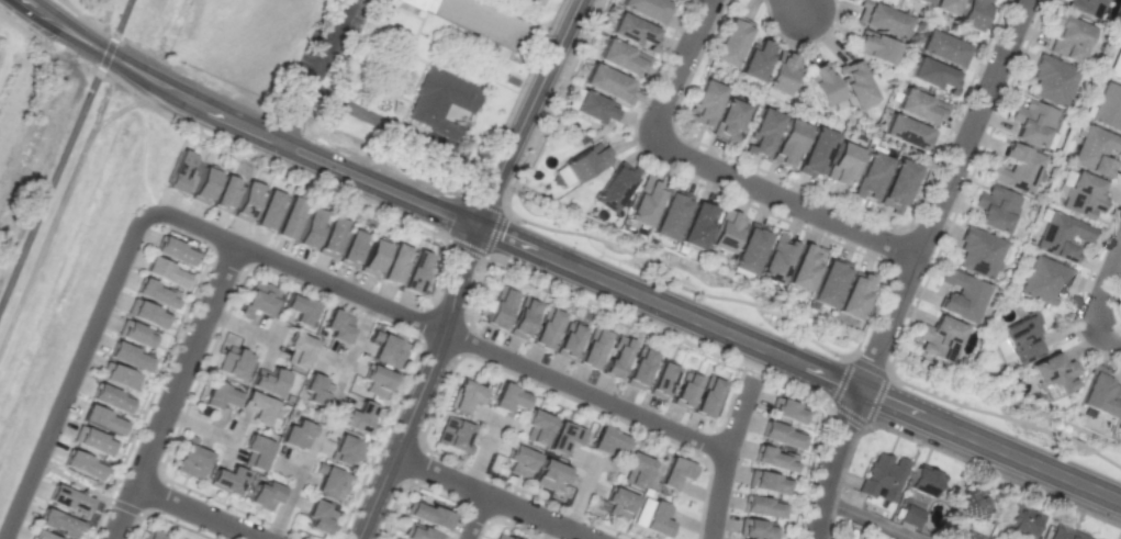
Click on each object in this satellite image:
building: (926, 0)
building: (959, 0)
building: (535, 1)
building: (417, 2)
road: (797, 4)
building: (943, 5)
building: (1081, 5)
building: (644, 9)
street lamp: (592, 12)
building: (971, 13)
street lamp: (839, 14)
building: (881, 19)
building: (485, 20)
road: (83, 22)
road: (21, 27)
road: (117, 27)
building: (634, 31)
street lamp: (674, 34)
building: (1067, 38)
building: (730, 41)
building: (874, 47)
building: (941, 47)
building: (620, 57)
building: (754, 59)
road: (317, 72)
building: (780, 72)
building: (1118, 72)
building: (932, 75)
building: (509, 80)
building: (1051, 80)
building: (607, 83)
building: (853, 83)
building: (822, 85)
road: (519, 89)
building: (438, 98)
building: (705, 102)
street lamp: (643, 103)
building: (593, 106)
building: (918, 106)
building: (1107, 106)
road: (526, 113)
building: (728, 120)
building: (1033, 124)
road: (243, 127)
building: (761, 132)
building: (907, 132)
building: (788, 142)
building: (1096, 150)
road: (64, 151)
building: (815, 151)
building: (841, 162)
building: (581, 164)
street lamp: (672, 168)
building: (1016, 168)
road: (715, 169)
building: (180, 171)
building: (870, 176)
road: (53, 179)
street lamp: (787, 182)
building: (203, 184)
building: (896, 186)
building: (613, 188)
building: (224, 193)
road: (942, 194)
building: (1081, 195)
building: (246, 201)
building: (644, 201)
building: (995, 209)
building: (267, 210)
building: (670, 216)
building: (288, 217)
building: (696, 224)
street lamp: (155, 225)
building: (310, 227)
building: (726, 231)
building: (1061, 236)
building: (330, 237)
building: (350, 248)
building: (749, 248)
street lamp: (859, 248)
building: (175, 250)
building: (978, 251)
building: (371, 257)
building: (776, 258)
street lamp: (933, 259)
building: (394, 263)
building: (804, 267)
building: (415, 271)
building: (165, 272)
building: (1044, 280)
street lamp: (290, 281)
building: (828, 282)
road: (1102, 290)
building: (156, 293)
building: (854, 294)
building: (961, 295)
building: (259, 299)
building: (299, 308)
building: (498, 308)
street lamp: (113, 310)
building: (146, 314)
building: (522, 317)
street lamp: (378, 318)
building: (337, 325)
road: (244, 327)
road: (436, 328)
building: (546, 328)
building: (135, 334)
building: (1021, 337)
building: (939, 338)
road: (1112, 338)
building: (568, 339)
road: (274, 341)
building: (592, 347)
building: (298, 349)
building: (386, 349)
road: (351, 350)
street lamp: (832, 355)
building: (128, 357)
building: (615, 357)
road: (330, 358)
building: (233, 361)
road: (799, 361)
building: (638, 368)
street lamp: (447, 371)
building: (117, 375)
building: (1053, 375)
road: (75, 377)
building: (661, 379)
building: (268, 380)
building: (374, 381)
road: (423, 384)
street lamp: (534, 385)
building: (315, 390)
building: (684, 390)
street lamp: (818, 392)
road: (171, 393)
building: (1099, 393)
street lamp: (78, 394)
building: (218, 395)
building: (463, 395)
building: (707, 396)
building: (507, 397)
building: (110, 398)
street lamp: (186, 403)
building: (257, 407)
street lamp: (955, 407)
street lamp: (657, 409)
building: (786, 411)
building: (358, 417)
building: (102, 419)
building: (1119, 424)
road: (199, 426)
building: (536, 426)
street lamp: (883, 430)
building: (452, 433)
building: (295, 435)
building: (780, 435)
building: (562, 438)
building: (92, 440)
building: (606, 440)
building: (346, 450)
building: (255, 452)
road: (482, 453)
building: (191, 459)
road: (725, 459)
building: (773, 459)
building: (519, 461)
road: (831, 462)
building: (81, 464)
building: (635, 469)
street lamp: (45, 472)
building: (674, 473)
building: (549, 474)
building: (882, 476)
building: (226, 480)
building: (330, 481)
building: (922, 481)
park: (79, 482)
building: (765, 482)
road: (293, 490)
street lamp: (199, 495)
building: (264, 495)
road: (490, 496)
road: (582, 496)
building: (68, 499)
building: (618, 503)
building: (972, 504)
building: (761, 506)
road: (201, 513)
building: (427, 515)
building: (910, 515)
road: (474, 516)
building: (318, 517)
building: (652, 517)
road: (870, 518)
building: (1021, 521)
building: (58, 523)
building: (754, 529)
road: (549, 531)
building: (418, 532)
building: (1065, 534)
building: (40, 535)
building: (150, 535)
building: (500, 537)

